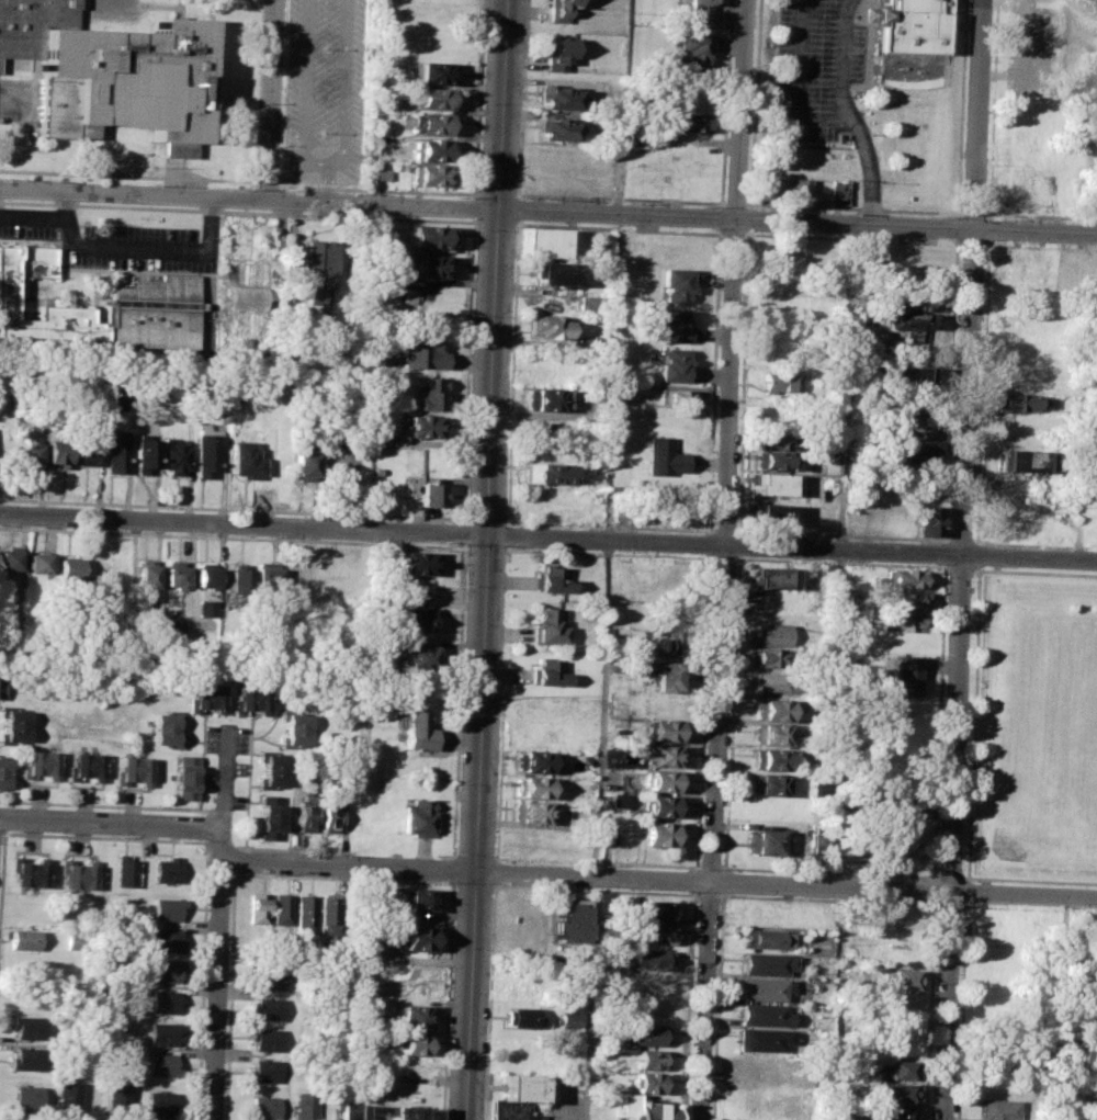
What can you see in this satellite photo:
road: (120, 3)
building: (557, 9)
building: (699, 9)
building: (913, 25)
building: (694, 48)
building: (557, 53)
parking lot: (817, 69)
building: (108, 71)
building: (433, 73)
road: (799, 83)
road: (258, 90)
parking lot: (325, 91)
building: (434, 98)
building: (558, 98)
road: (480, 99)
road: (13, 101)
road: (270, 101)
road: (961, 105)
road: (851, 114)
building: (429, 122)
building: (691, 122)
building: (555, 129)
building: (432, 149)
road: (992, 158)
road: (321, 163)
building: (381, 169)
road: (128, 174)
building: (431, 174)
road: (267, 182)
road: (329, 183)
building: (787, 186)
road: (378, 189)
building: (840, 190)
road: (498, 193)
road: (622, 197)
road: (736, 202)
road: (748, 203)
road: (753, 204)
road: (750, 206)
road: (476, 207)
road: (66, 208)
road: (547, 213)
road: (749, 218)
building: (430, 236)
building: (545, 241)
road: (294, 247)
road: (123, 249)
building: (426, 265)
building: (319, 268)
building: (555, 273)
building: (679, 283)
building: (154, 295)
building: (909, 301)
building: (591, 305)
road: (617, 309)
building: (912, 323)
building: (677, 325)
building: (551, 326)
building: (423, 353)
building: (676, 364)
road: (468, 370)
building: (908, 374)
road: (744, 382)
building: (777, 382)
building: (433, 394)
building: (677, 396)
building: (545, 398)
building: (1021, 401)
building: (917, 422)
building: (423, 426)
building: (773, 439)
building: (87, 448)
building: (117, 450)
building: (57, 452)
building: (29, 453)
building: (176, 453)
building: (210, 453)
building: (144, 454)
building: (917, 455)
building: (664, 456)
building: (244, 460)
building: (1022, 460)
building: (774, 461)
building: (304, 463)
building: (547, 472)
building: (769, 483)
building: (430, 494)
building: (769, 513)
building: (860, 518)
building: (929, 520)
road: (463, 533)
road: (547, 538)
road: (738, 544)
building: (9, 558)
road: (486, 559)
road: (725, 559)
road: (963, 559)
building: (35, 562)
building: (416, 563)
building: (68, 567)
road: (948, 570)
road: (961, 570)
building: (146, 573)
road: (975, 573)
building: (173, 574)
building: (205, 574)
building: (769, 577)
building: (239, 578)
building: (265, 578)
building: (907, 578)
building: (551, 580)
building: (909, 600)
building: (205, 608)
building: (414, 614)
road: (943, 618)
building: (902, 622)
building: (545, 626)
building: (769, 634)
building: (417, 656)
building: (762, 656)
building: (546, 670)
road: (842, 674)
building: (907, 674)
building: (666, 675)
building: (770, 680)
building: (1, 687)
building: (205, 698)
building: (251, 699)
road: (456, 700)
building: (770, 709)
road: (731, 712)
building: (12, 724)
building: (163, 727)
road: (973, 727)
building: (294, 728)
building: (415, 729)
building: (664, 731)
building: (770, 734)
building: (664, 756)
building: (768, 759)
building: (532, 761)
building: (38, 765)
building: (84, 767)
building: (269, 769)
building: (2, 771)
building: (132, 771)
building: (183, 778)
building: (663, 779)
building: (768, 784)
building: (530, 787)
building: (817, 787)
road: (222, 789)
building: (617, 800)
building: (661, 805)
building: (903, 806)
building: (767, 810)
building: (329, 812)
building: (530, 812)
building: (305, 814)
building: (269, 816)
building: (417, 817)
road: (118, 826)
road: (598, 830)
building: (659, 834)
building: (764, 841)
building: (816, 844)
building: (814, 858)
building: (167, 869)
road: (451, 869)
building: (30, 870)
building: (125, 870)
building: (78, 872)
road: (657, 879)
road: (724, 881)
road: (934, 889)
road: (710, 893)
road: (828, 897)
building: (417, 898)
road: (493, 901)
road: (949, 904)
road: (1028, 907)
building: (167, 908)
building: (256, 908)
building: (281, 908)
building: (656, 909)
building: (304, 912)
building: (327, 915)
building: (569, 921)
building: (651, 934)
building: (411, 938)
building: (163, 939)
building: (767, 939)
building: (27, 940)
building: (76, 940)
building: (651, 960)
building: (767, 963)
building: (162, 970)
building: (269, 974)
building: (902, 978)
building: (765, 988)
road: (215, 989)
road: (445, 999)
building: (161, 1000)
road: (717, 1006)
building: (267, 1008)
road: (1065, 1008)
road: (929, 1009)
building: (761, 1014)
building: (410, 1017)
building: (519, 1017)
building: (569, 1018)
building: (823, 1020)
building: (31, 1026)
building: (159, 1033)
building: (644, 1034)
building: (264, 1038)
building: (761, 1039)
building: (409, 1044)
building: (522, 1052)
building: (29, 1057)
building: (651, 1059)
building: (159, 1063)
building: (760, 1064)
building: (900, 1068)
building: (265, 1070)
building: (646, 1082)
building: (519, 1086)
building: (895, 1091)
building: (26, 1096)
building: (68, 1098)
building: (116, 1098)
building: (157, 1104)
building: (304, 1105)
building: (263, 1108)
building: (641, 1108)
building: (1000, 1109)
building: (511, 1110)
building: (350, 1111)
building: (399, 1111)
building: (896, 1112)

